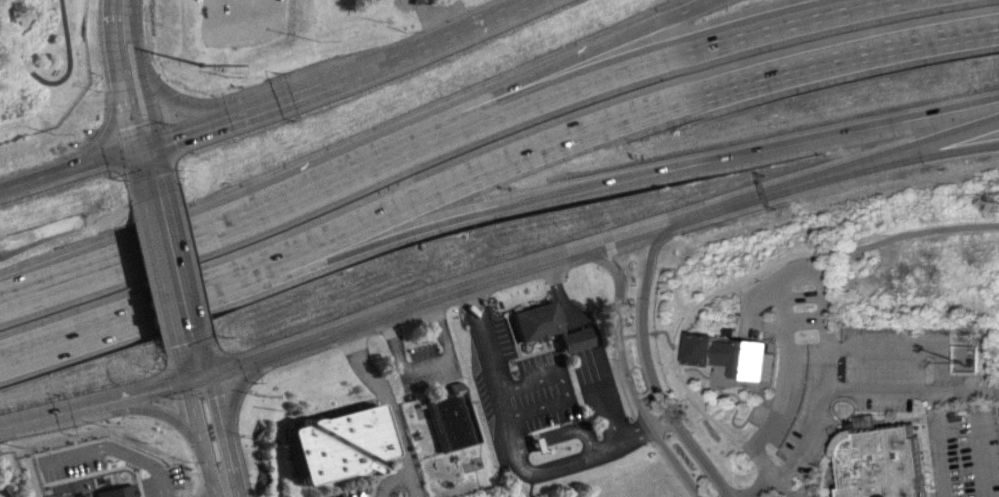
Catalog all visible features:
building: (412, 1)
road: (123, 4)
road: (654, 58)
park: (38, 60)
road: (571, 63)
road: (126, 76)
road: (334, 76)
road: (44, 82)
road: (173, 100)
traffic signals: (135, 123)
road: (605, 126)
road: (103, 132)
traffic signals: (169, 133)
road: (942, 138)
road: (941, 150)
road: (69, 166)
traffic signals: (147, 176)
road: (147, 177)
road: (611, 178)
road: (772, 191)
road: (222, 229)
road: (616, 239)
road: (807, 268)
road: (169, 271)
road: (761, 276)
road: (114, 319)
building: (544, 327)
road: (769, 327)
road: (593, 339)
traffic signals: (186, 341)
road: (287, 347)
parking lot: (799, 354)
road: (969, 354)
road: (189, 355)
building: (736, 356)
road: (422, 365)
road: (625, 370)
road: (649, 371)
traffic signals: (171, 386)
road: (878, 392)
road: (964, 392)
traffic signals: (212, 400)
road: (146, 406)
road: (380, 409)
building: (443, 419)
road: (220, 434)
road: (198, 440)
building: (331, 444)
road: (936, 444)
road: (503, 447)
road: (116, 451)
building: (882, 464)
road: (383, 481)
road: (766, 488)
road: (780, 488)
building: (117, 491)
road: (223, 496)
road: (225, 496)

